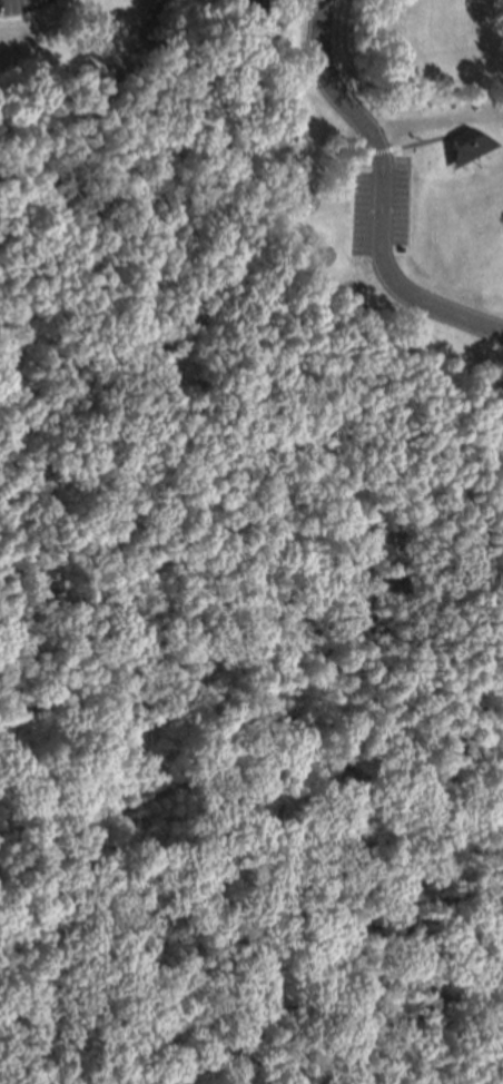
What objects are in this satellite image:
building: (282, 136)
road: (414, 144)
building: (462, 145)
road: (382, 194)
parking lot: (381, 204)
road: (190, 284)
road: (111, 364)
road: (307, 446)
park: (233, 522)
road: (254, 779)
road: (265, 928)
road: (68, 1034)

